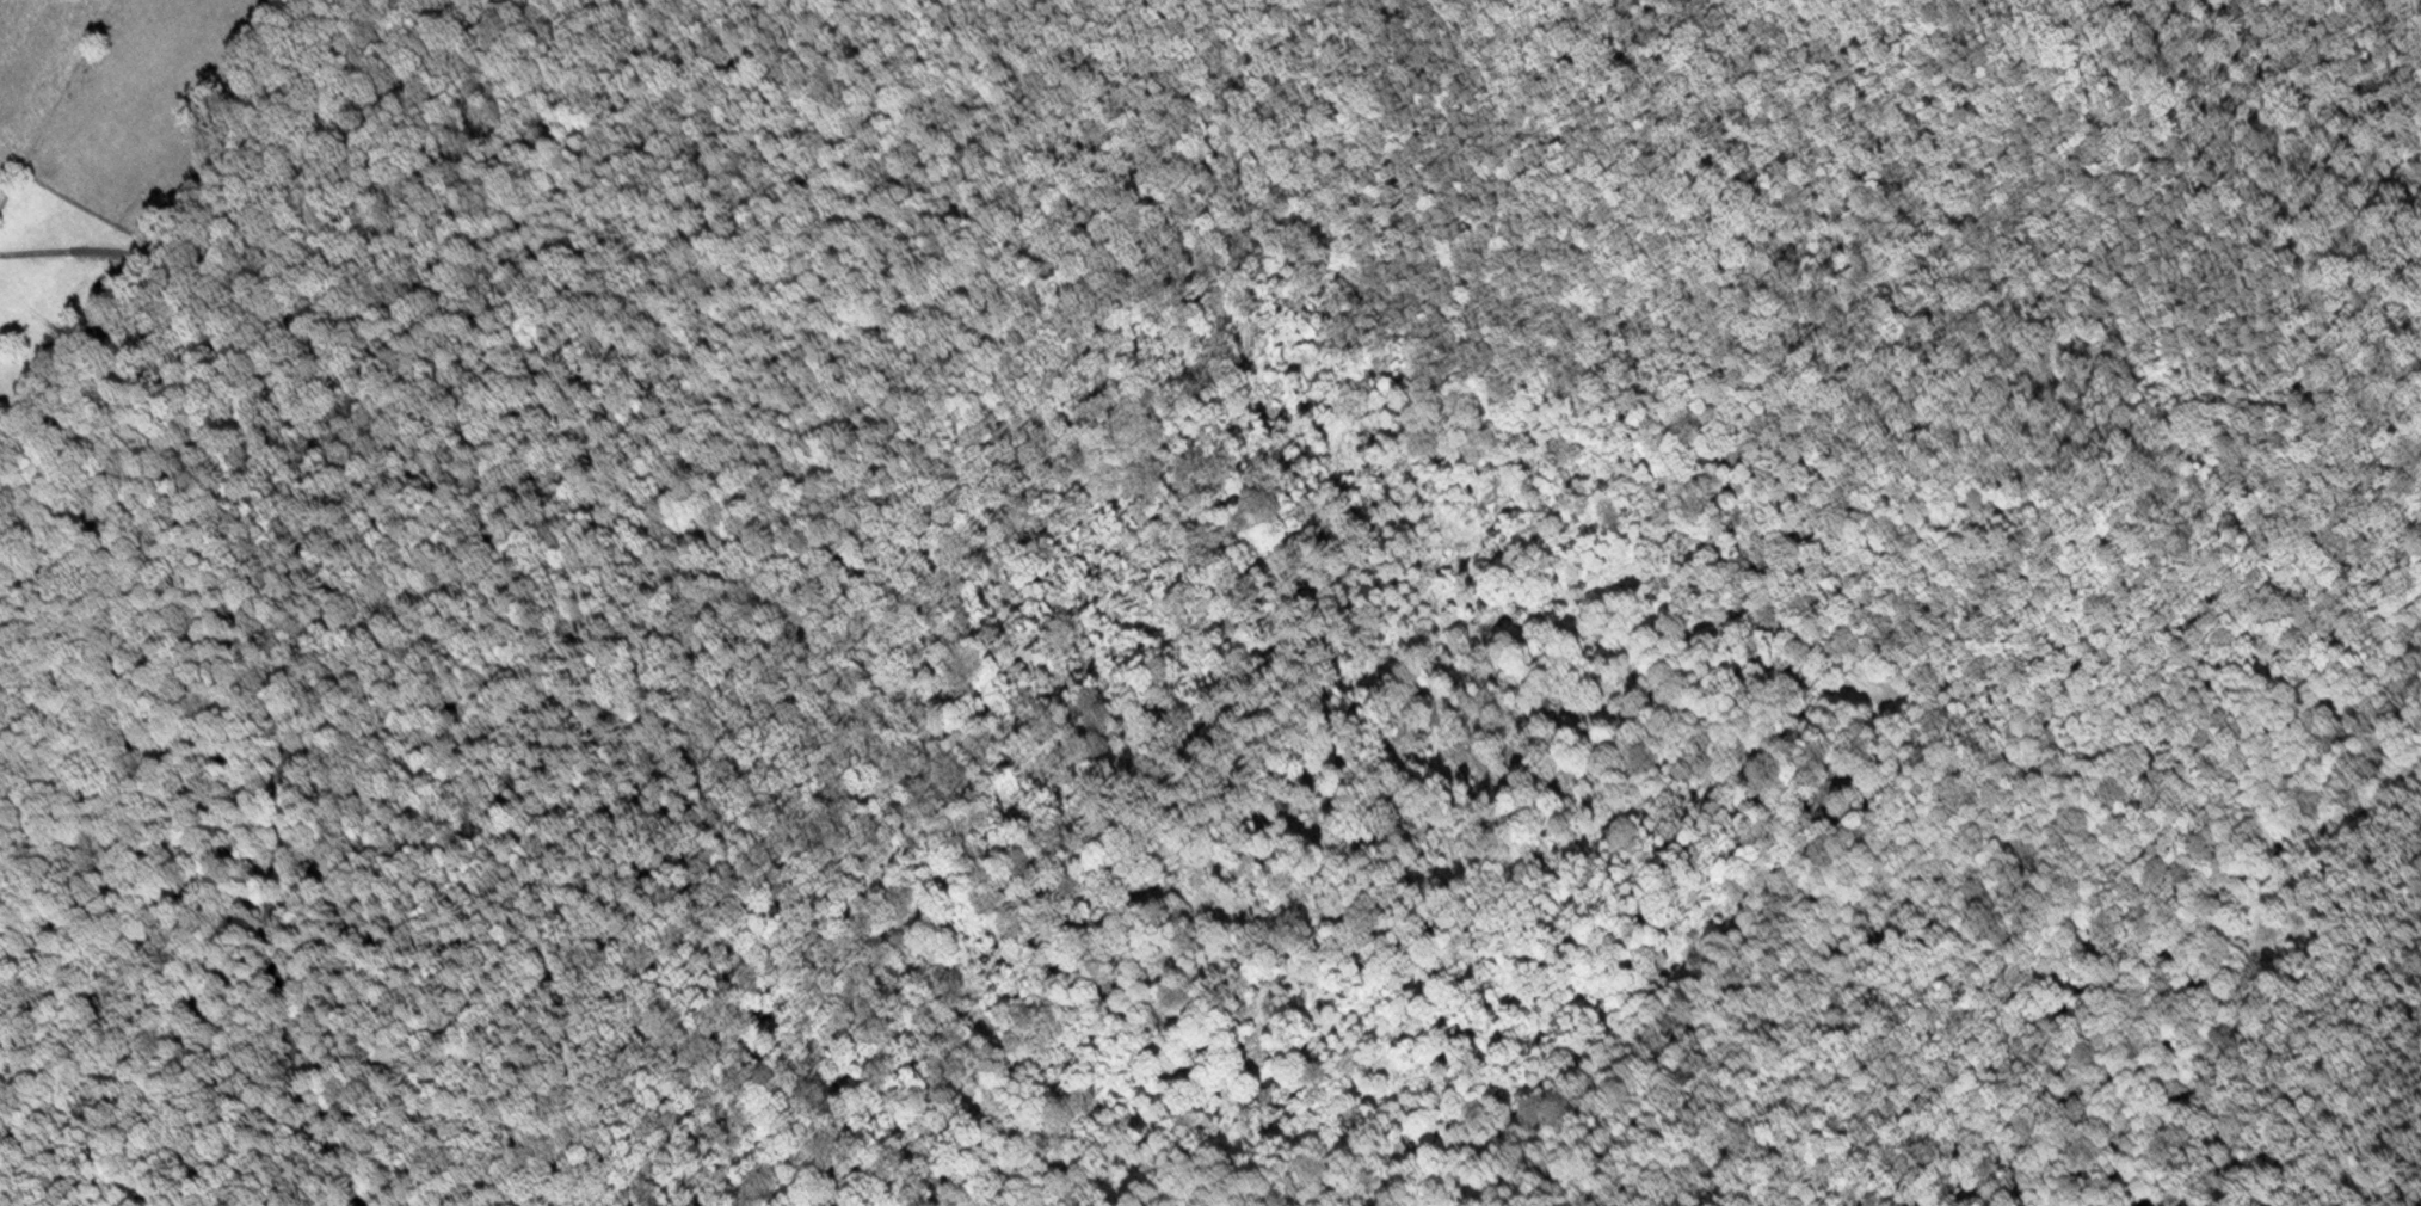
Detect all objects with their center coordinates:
building: (197, 368)
building: (849, 578)
road: (550, 580)
road: (289, 633)

